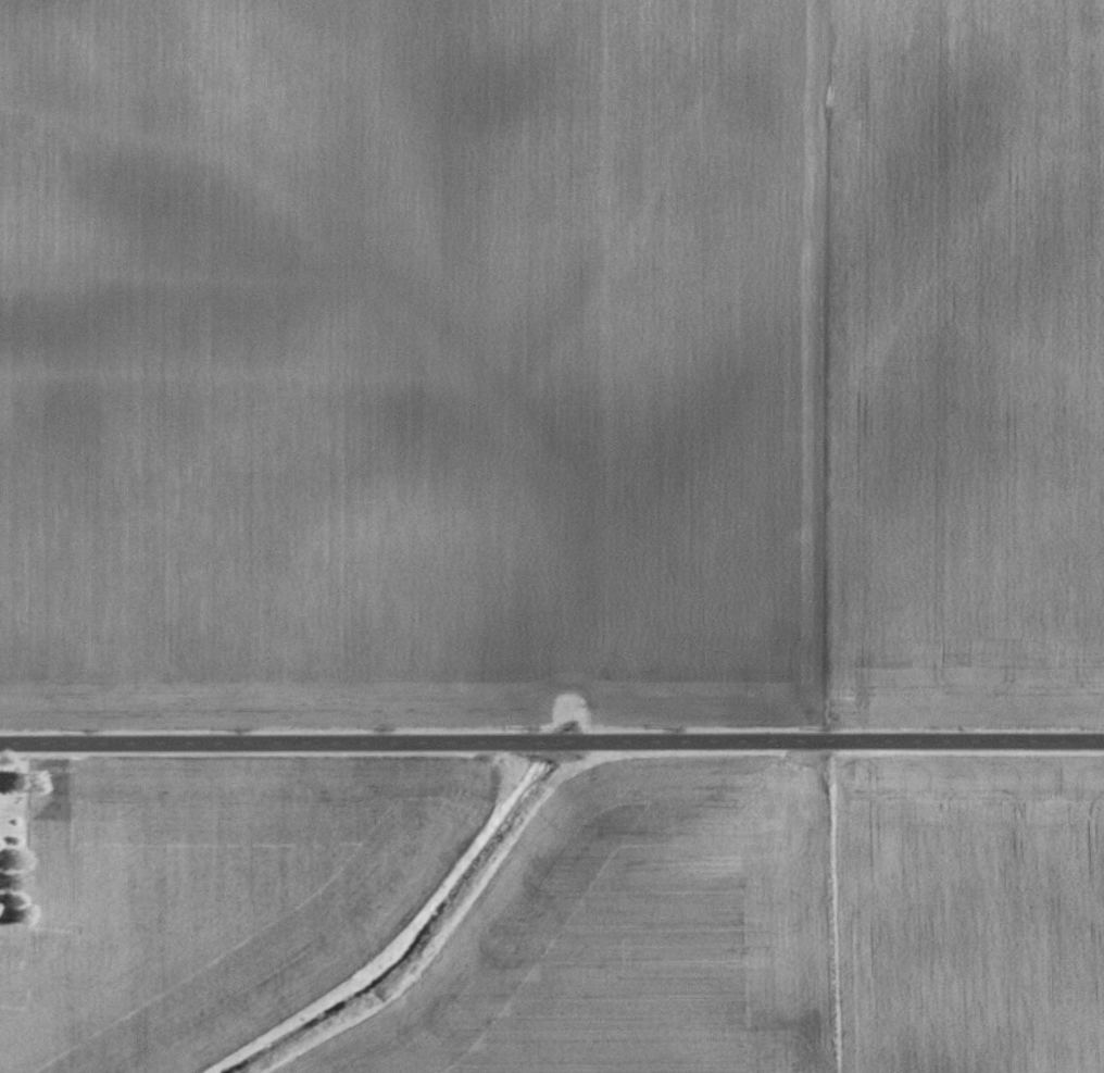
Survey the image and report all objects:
road: (552, 743)

